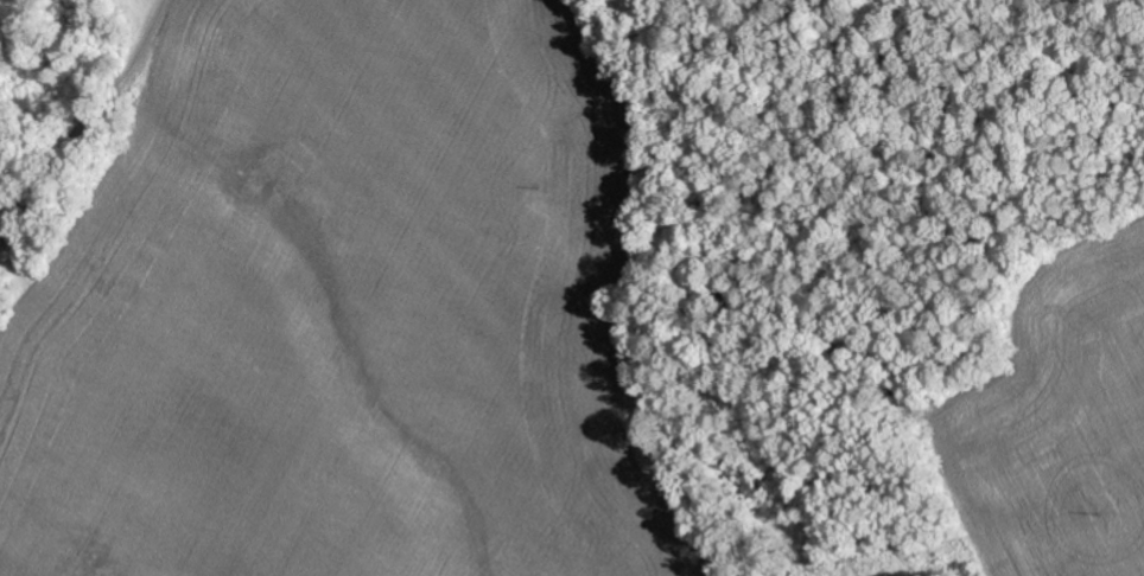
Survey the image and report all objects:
road: (84, 121)

